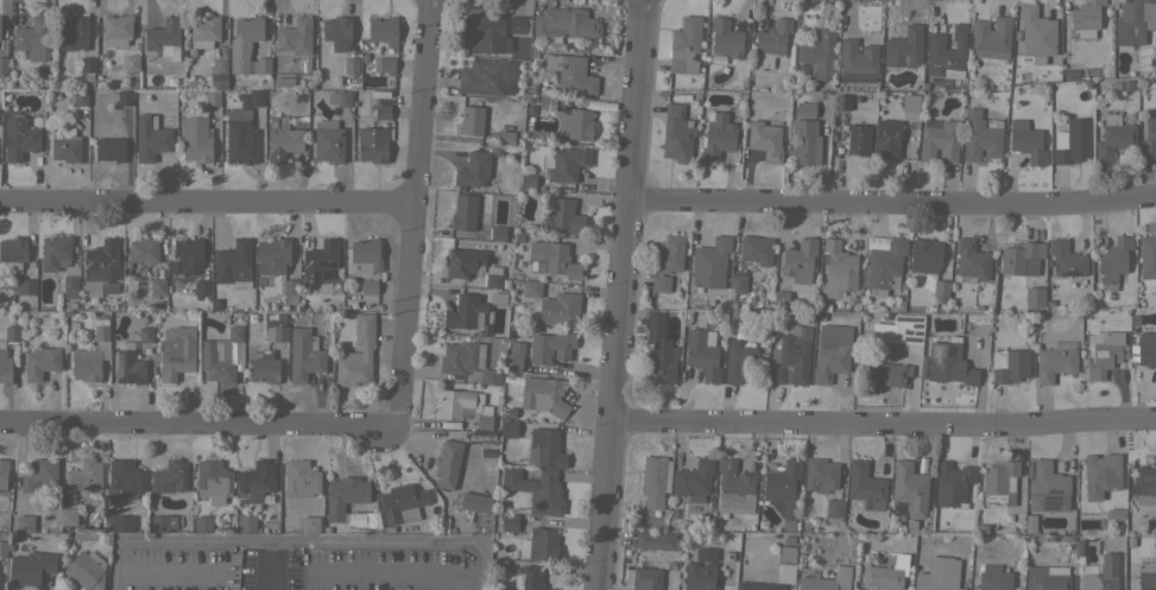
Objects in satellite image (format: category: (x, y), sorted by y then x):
building: (1086, 18)
building: (1135, 21)
building: (518, 24)
building: (564, 25)
building: (116, 28)
building: (248, 28)
building: (384, 30)
building: (204, 31)
building: (72, 32)
building: (336, 32)
building: (486, 32)
building: (1036, 33)
building: (295, 36)
building: (33, 38)
building: (163, 38)
building: (726, 38)
building: (991, 38)
building: (771, 42)
building: (684, 45)
building: (904, 47)
building: (946, 51)
building: (819, 52)
building: (858, 58)
building: (131, 62)
building: (4, 64)
building: (88, 64)
building: (263, 64)
building: (384, 64)
building: (219, 65)
building: (350, 65)
building: (801, 70)
building: (569, 72)
building: (1065, 75)
building: (485, 76)
building: (160, 80)
building: (1126, 85)
building: (81, 97)
building: (210, 97)
building: (343, 97)
building: (125, 99)
building: (251, 99)
building: (841, 101)
building: (909, 101)
building: (547, 103)
building: (927, 106)
building: (383, 112)
building: (470, 121)
building: (574, 123)
building: (676, 134)
building: (804, 134)
building: (195, 135)
building: (716, 135)
building: (980, 135)
building: (1114, 135)
building: (19, 138)
building: (506, 138)
building: (887, 138)
building: (151, 139)
building: (1149, 139)
building: (765, 140)
building: (857, 140)
building: (939, 140)
building: (240, 141)
building: (284, 141)
building: (1025, 141)
building: (1072, 141)
building: (64, 144)
building: (372, 144)
building: (329, 145)
building: (109, 148)
building: (566, 164)
building: (473, 169)
building: (528, 178)
road: (892, 202)
road: (208, 205)
building: (463, 212)
building: (562, 215)
road: (415, 217)
building: (498, 233)
building: (13, 249)
building: (144, 249)
building: (756, 249)
building: (55, 253)
building: (365, 254)
building: (669, 254)
building: (187, 255)
building: (272, 255)
building: (924, 255)
building: (1148, 255)
rooftop solar panel: (10, 258)
building: (1021, 258)
building: (234, 259)
building: (552, 259)
building: (1066, 259)
building: (800, 260)
building: (971, 260)
building: (1113, 261)
building: (463, 262)
building: (710, 262)
building: (885, 264)
building: (102, 266)
building: (839, 266)
building: (321, 268)
rooftop solar panel: (1054, 268)
rooftop solar panel: (1072, 275)
building: (492, 277)
building: (659, 283)
building: (69, 285)
building: (26, 286)
building: (158, 286)
building: (368, 286)
building: (202, 287)
building: (735, 288)
building: (940, 290)
building: (290, 291)
road: (620, 294)
building: (1035, 297)
building: (498, 298)
building: (781, 299)
building: (214, 304)
building: (554, 305)
building: (825, 307)
building: (465, 312)
building: (808, 318)
rooftop solar panel: (912, 319)
rooftop solar panel: (915, 326)
building: (277, 330)
building: (901, 331)
rooftop solar panel: (907, 331)
building: (101, 332)
building: (12, 334)
building: (145, 334)
rooftop solar panel: (918, 335)
rooftop solar panel: (915, 338)
building: (550, 347)
building: (1144, 349)
building: (176, 351)
building: (659, 351)
building: (832, 351)
rooftop solar panel: (936, 351)
rooftop solar panel: (952, 353)
building: (358, 354)
building: (1106, 354)
building: (701, 355)
building: (220, 356)
building: (304, 356)
building: (513, 356)
building: (791, 356)
rooftop solar panel: (130, 360)
building: (740, 360)
building: (466, 361)
building: (40, 362)
building: (946, 363)
building: (1054, 363)
building: (86, 364)
building: (1009, 366)
building: (5, 367)
building: (128, 367)
building: (264, 368)
building: (884, 374)
rooftop solar panel: (131, 378)
building: (543, 394)
building: (455, 404)
building: (485, 418)
road: (883, 421)
road: (197, 429)
building: (508, 429)
building: (545, 449)
building: (447, 462)
building: (2, 472)
building: (39, 474)
building: (820, 475)
building: (1101, 475)
building: (84, 476)
building: (126, 476)
building: (169, 477)
building: (213, 478)
building: (301, 478)
building: (693, 480)
building: (255, 481)
building: (655, 481)
building: (952, 483)
building: (999, 483)
building: (734, 484)
building: (1143, 484)
building: (865, 486)
rooftop solar panel: (1055, 487)
building: (909, 488)
building: (1048, 488)
building: (536, 489)
building: (784, 491)
building: (347, 499)
building: (404, 502)
building: (475, 502)
rooftop solar panel: (1050, 502)
building: (834, 509)
building: (68, 516)
building: (162, 521)
building: (120, 522)
building: (510, 522)
building: (25, 524)
building: (203, 524)
building: (247, 524)
building: (309, 524)
building: (1029, 525)
building: (980, 529)
road: (297, 540)
building: (656, 540)
building: (543, 544)
building: (5, 547)
building: (1076, 547)
building: (706, 554)
building: (785, 564)
road: (269, 565)
building: (31, 566)
road: (394, 571)
building: (86, 572)
building: (886, 573)
building: (1100, 573)
road: (166, 575)
building: (939, 575)
building: (700, 577)
building: (1146, 577)
building: (528, 578)
building: (644, 578)
building: (993, 578)
building: (1046, 579)
building: (825, 581)
building: (758, 585)
building: (855, 589)

